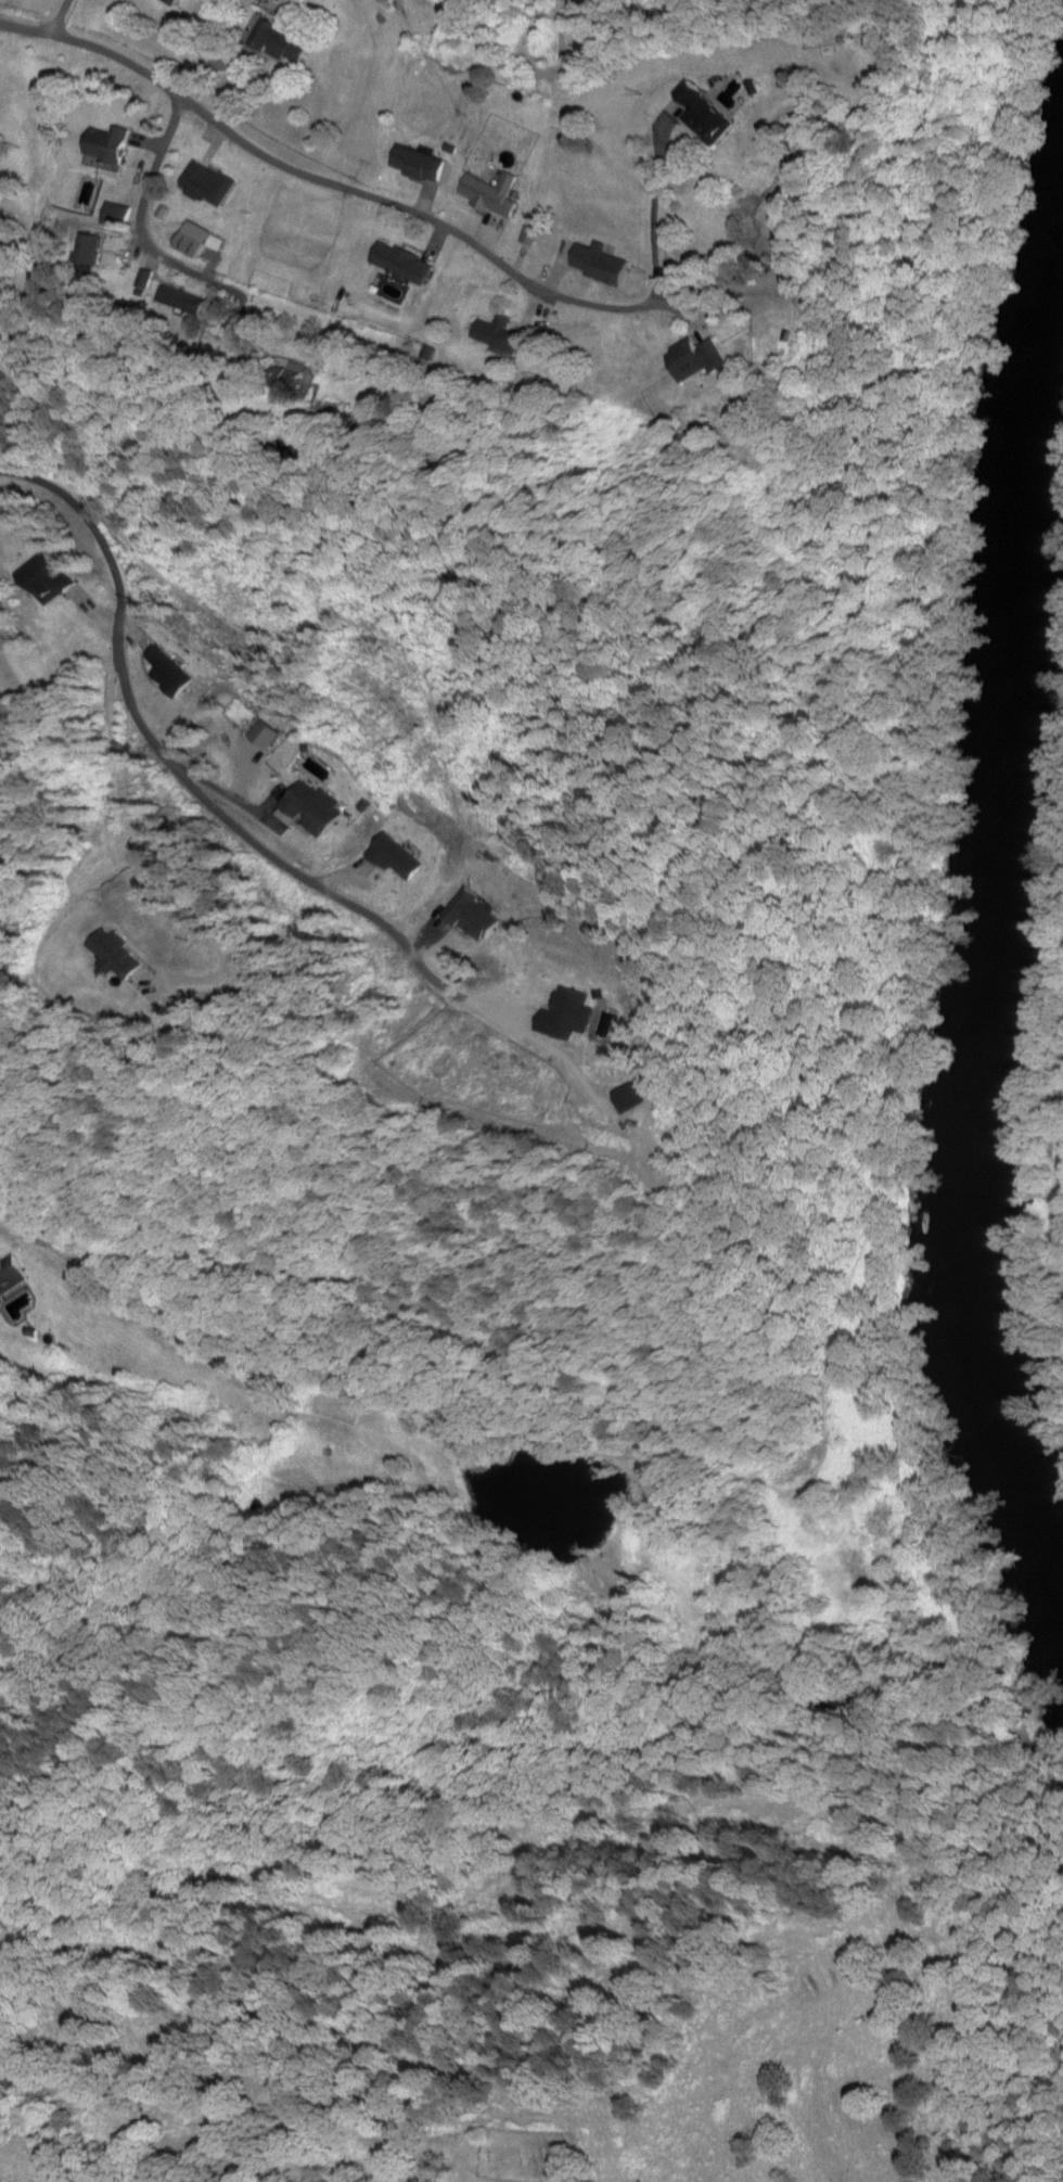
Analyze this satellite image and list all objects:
road: (61, 17)
road: (26, 27)
building: (282, 42)
building: (869, 60)
building: (708, 115)
building: (110, 148)
building: (420, 165)
building: (210, 184)
building: (492, 193)
road: (426, 218)
road: (146, 246)
building: (84, 250)
building: (404, 263)
building: (500, 335)
building: (697, 359)
building: (291, 381)
building: (52, 580)
building: (310, 814)
river: (998, 894)
building: (14, 1290)
park: (529, 2156)

